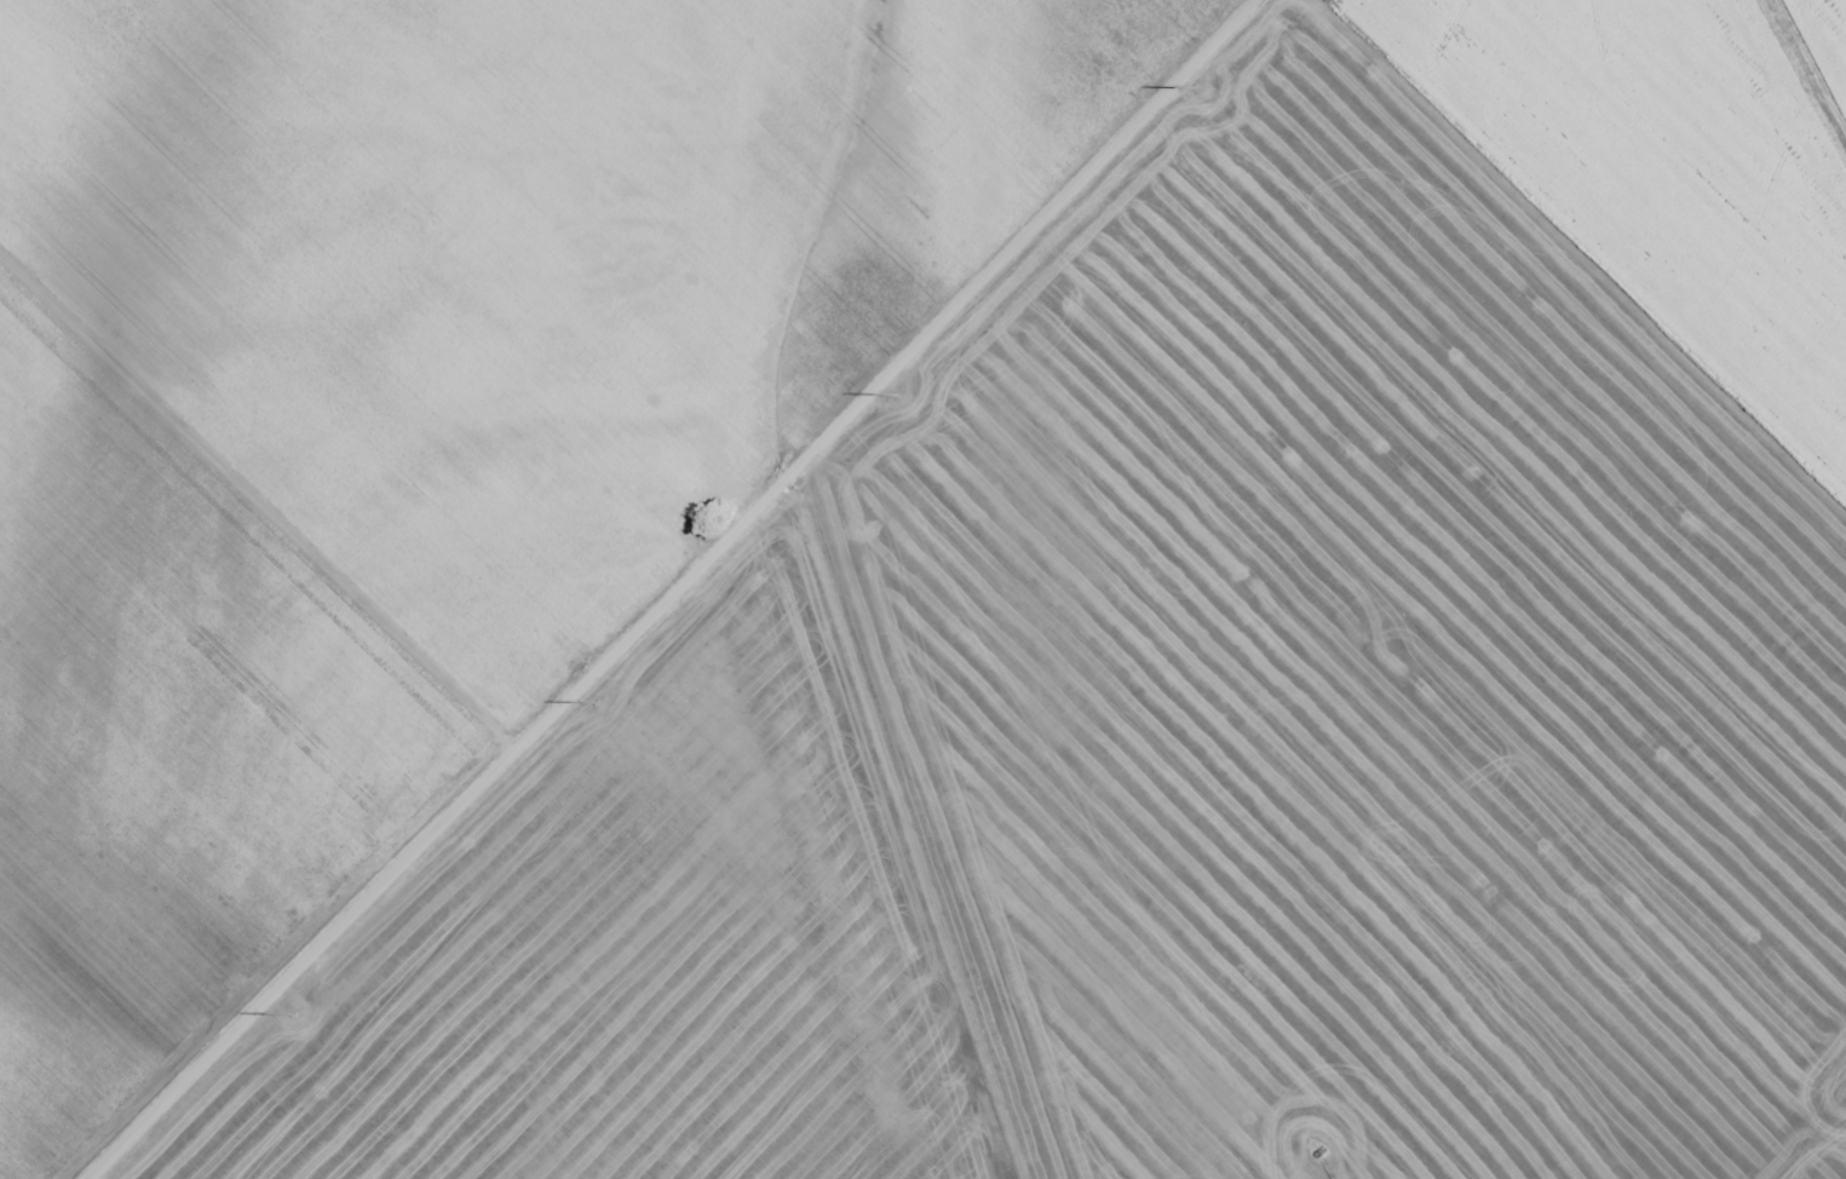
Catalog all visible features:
power tower: (1197, 88)
power tower: (898, 395)
road: (253, 537)
road: (690, 592)
power tower: (597, 701)
power tower: (293, 1013)

